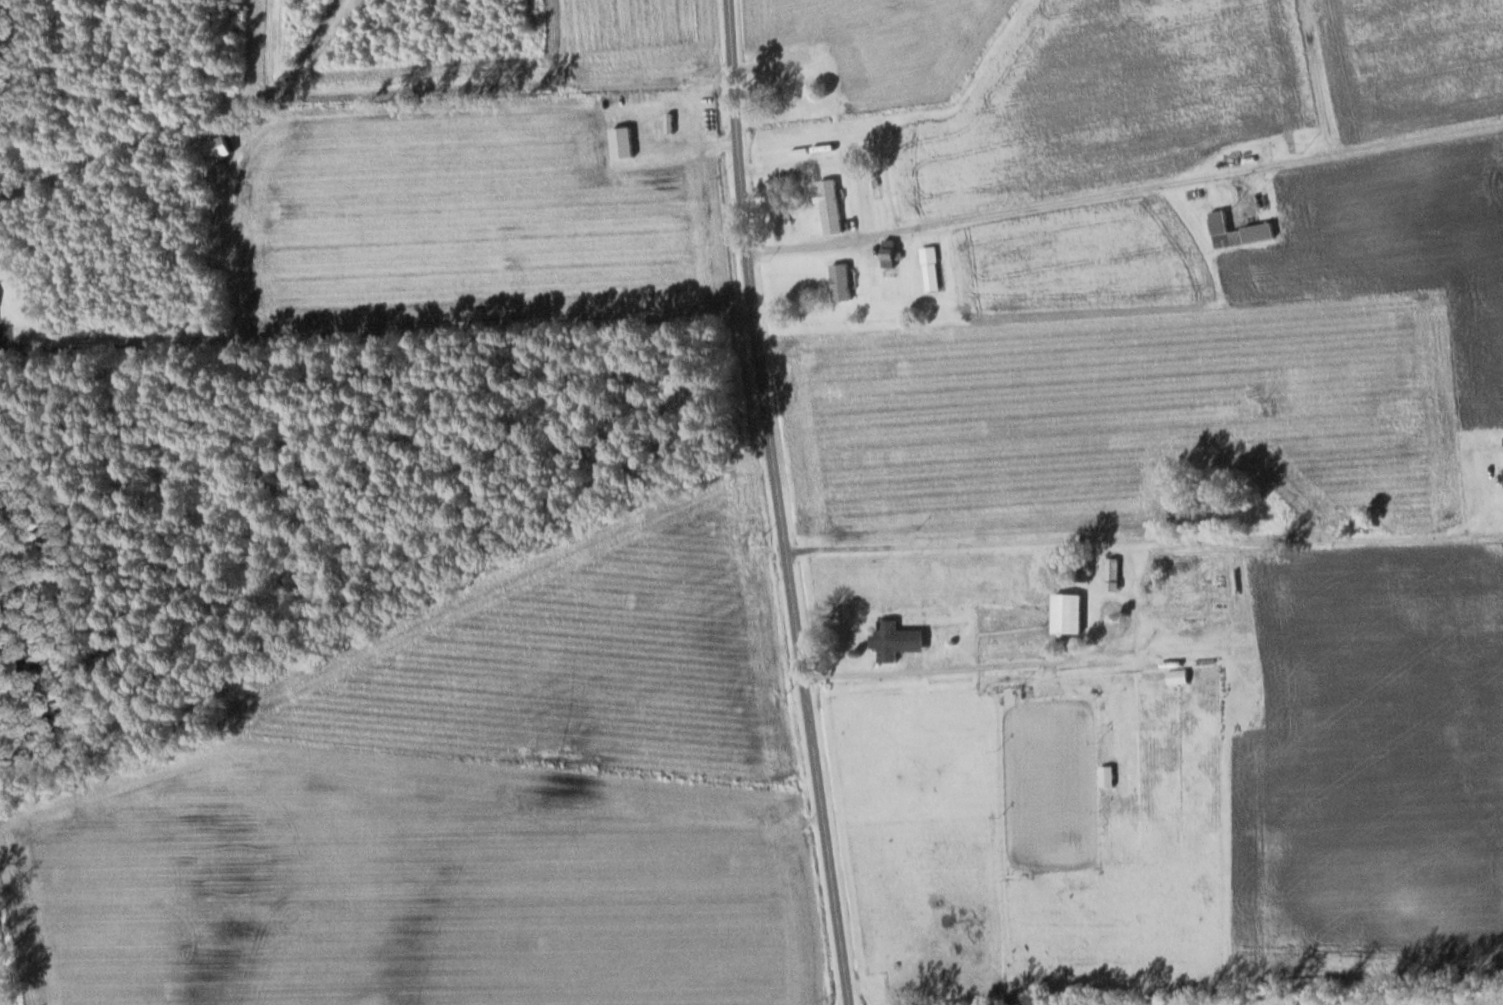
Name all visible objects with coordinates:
building: (776, 90)
building: (674, 118)
building: (218, 151)
building: (829, 208)
building: (1237, 233)
building: (888, 256)
building: (866, 258)
building: (840, 283)
road: (376, 318)
road: (782, 503)
building: (1112, 576)
building: (1067, 615)
building: (1109, 622)
building: (887, 643)
building: (1177, 678)
building: (1107, 778)

